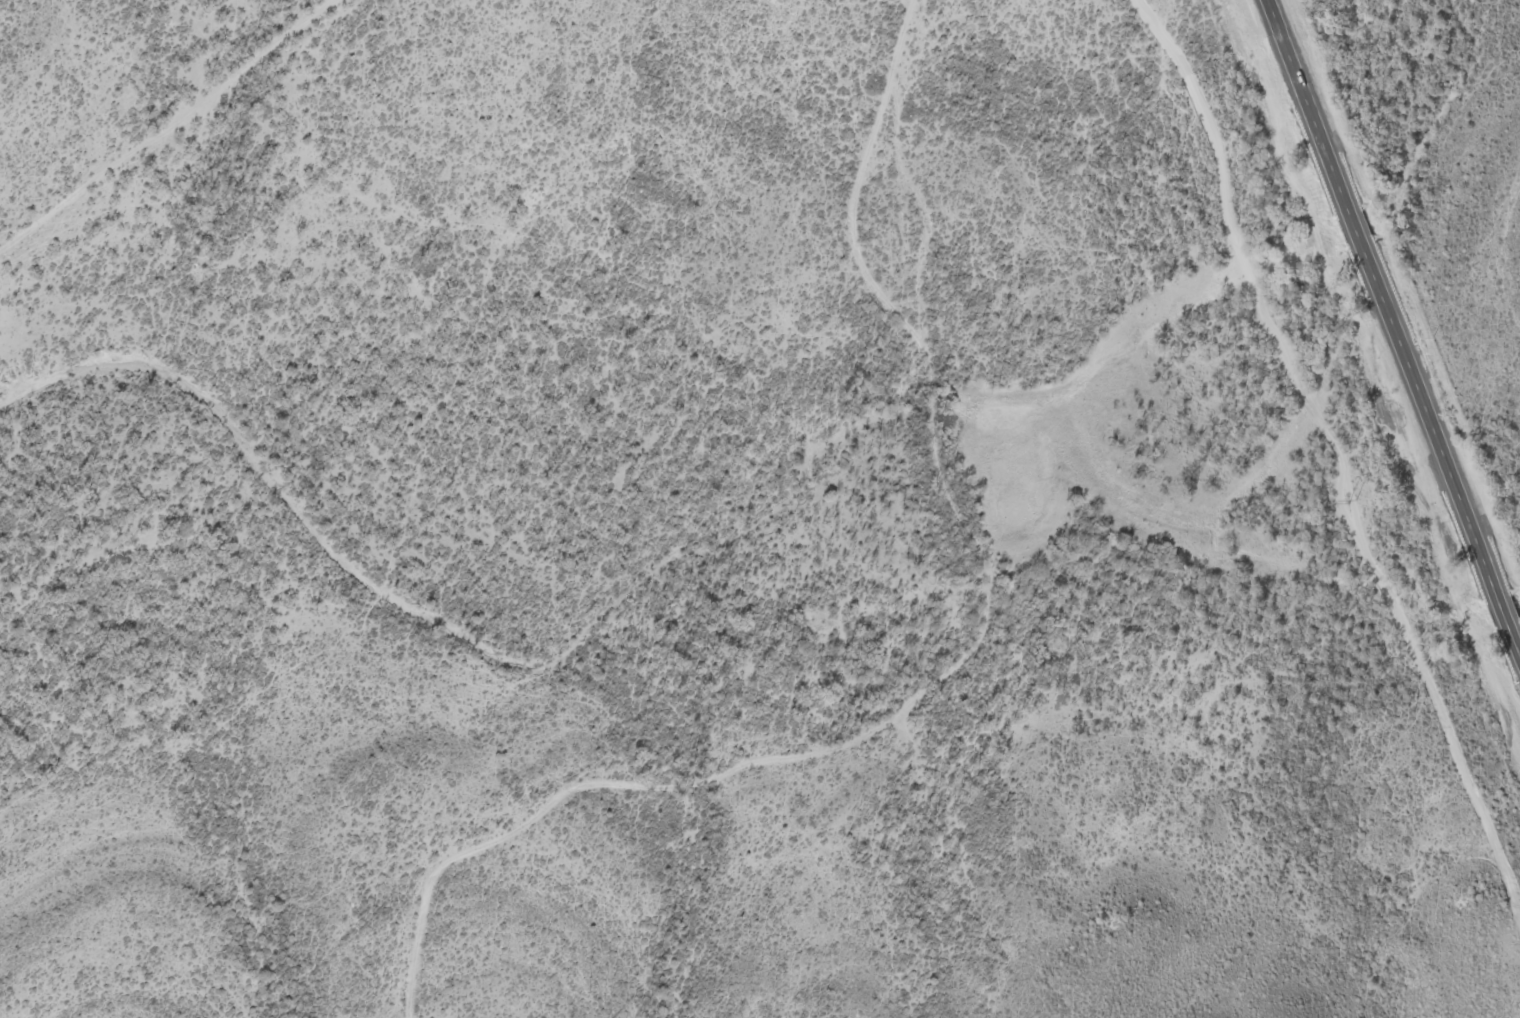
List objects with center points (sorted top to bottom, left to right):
road: (1394, 321)
power tower: (1350, 503)
road: (963, 687)

